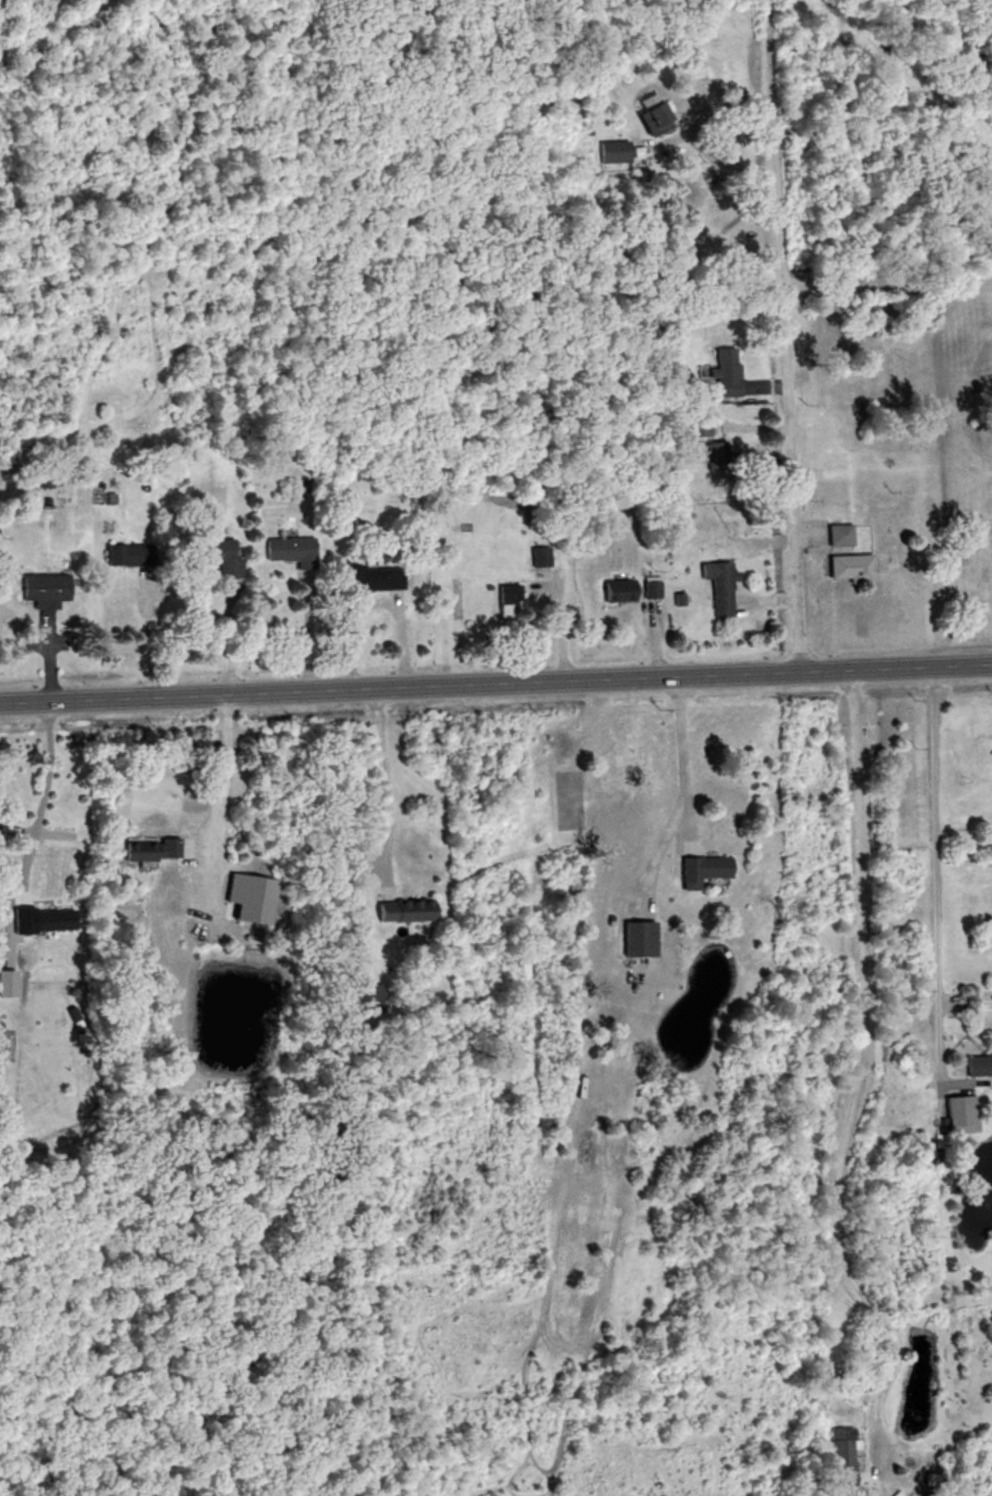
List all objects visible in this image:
building: (650, 115)
building: (615, 152)
road: (717, 159)
road: (785, 335)
building: (722, 373)
building: (700, 427)
building: (111, 487)
building: (838, 536)
building: (289, 551)
building: (215, 556)
building: (541, 558)
building: (848, 569)
building: (374, 580)
building: (718, 588)
building: (44, 591)
building: (617, 591)
building: (652, 591)
road: (554, 627)
road: (304, 634)
road: (143, 637)
road: (496, 682)
road: (681, 753)
road: (386, 783)
road: (43, 805)
road: (218, 809)
building: (146, 848)
building: (703, 868)
road: (936, 873)
building: (404, 911)
building: (370, 995)
building: (977, 1065)
road: (859, 1076)
building: (959, 1114)
building: (840, 1457)

